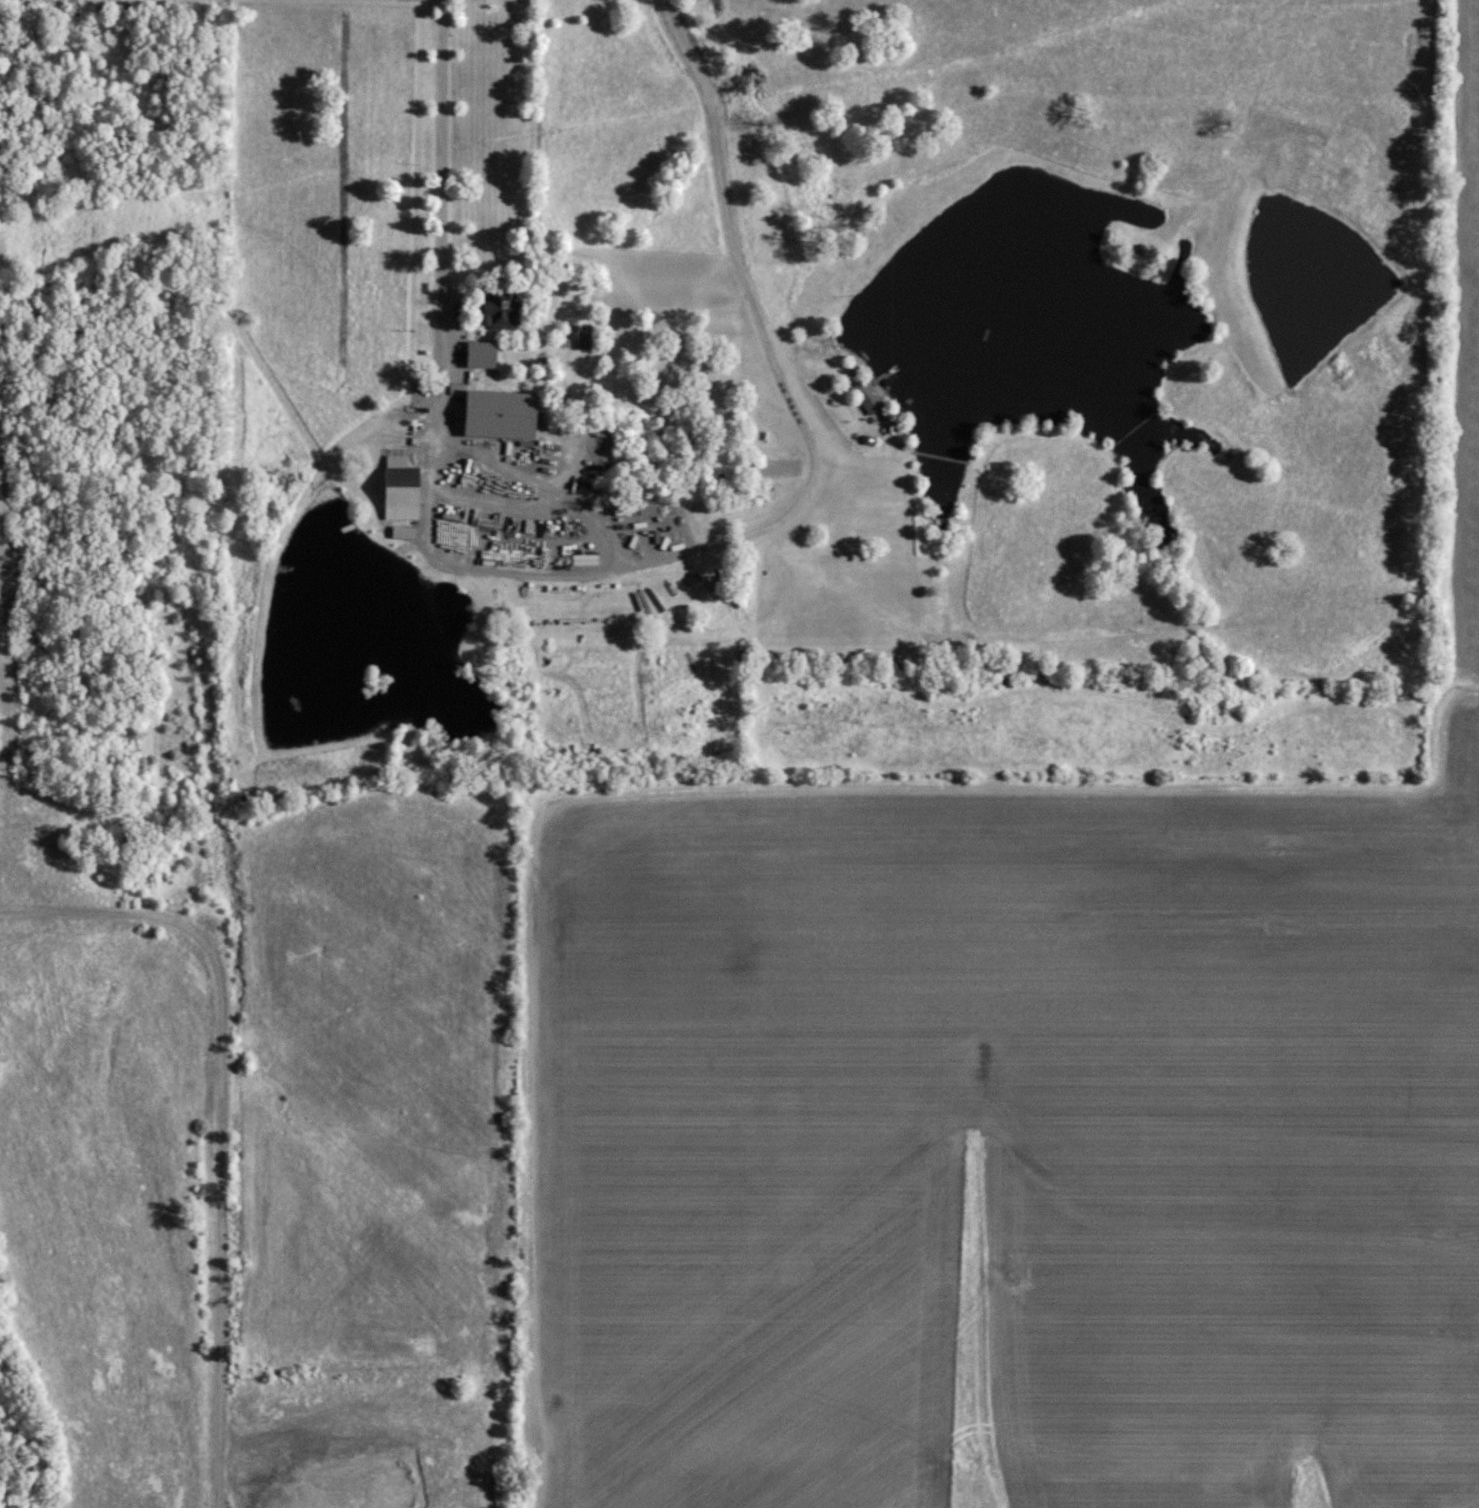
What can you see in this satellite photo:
building: (498, 309)
building: (479, 354)
building: (865, 396)
building: (497, 414)
building: (398, 490)
building: (583, 559)
road: (609, 565)

